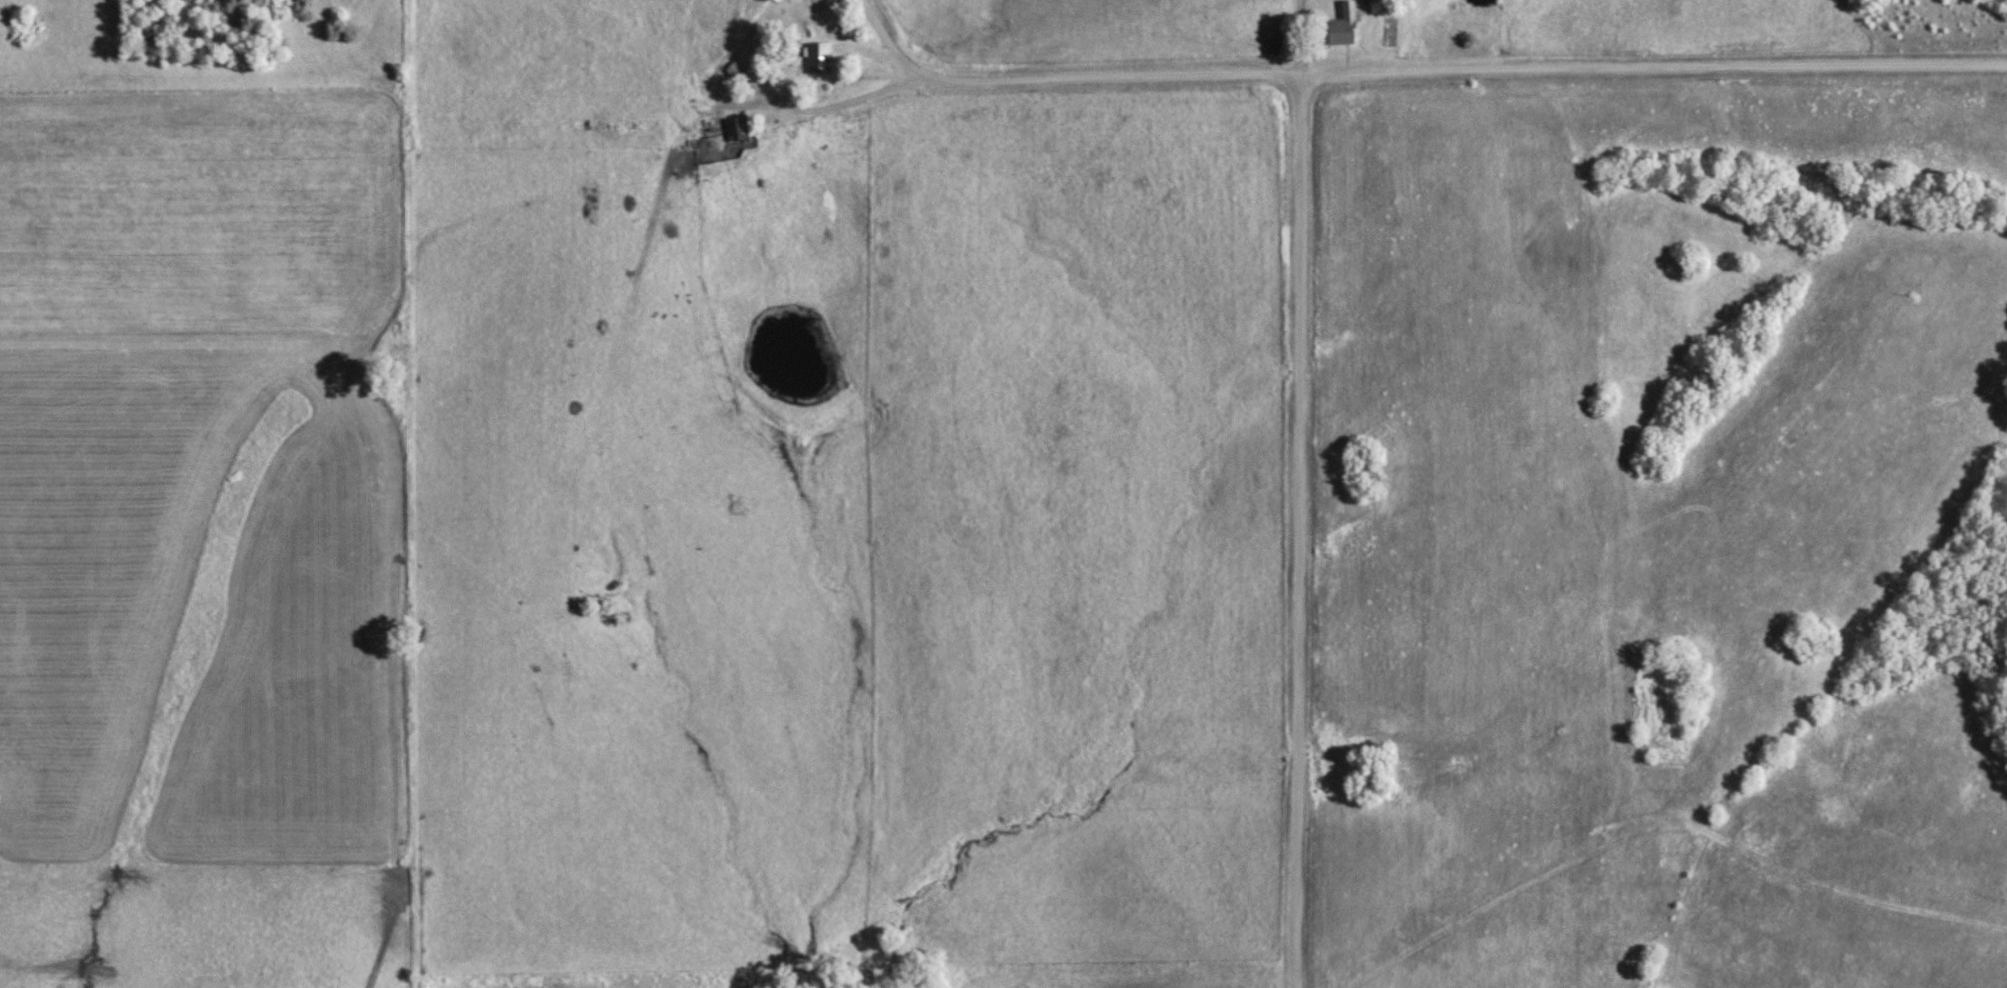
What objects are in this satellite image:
building: (1344, 27)
road: (1305, 35)
building: (819, 58)
road: (1422, 63)
building: (735, 72)
road: (777, 83)
building: (739, 128)
crop: (198, 215)
road: (1299, 529)
crop: (195, 606)
road: (384, 946)

